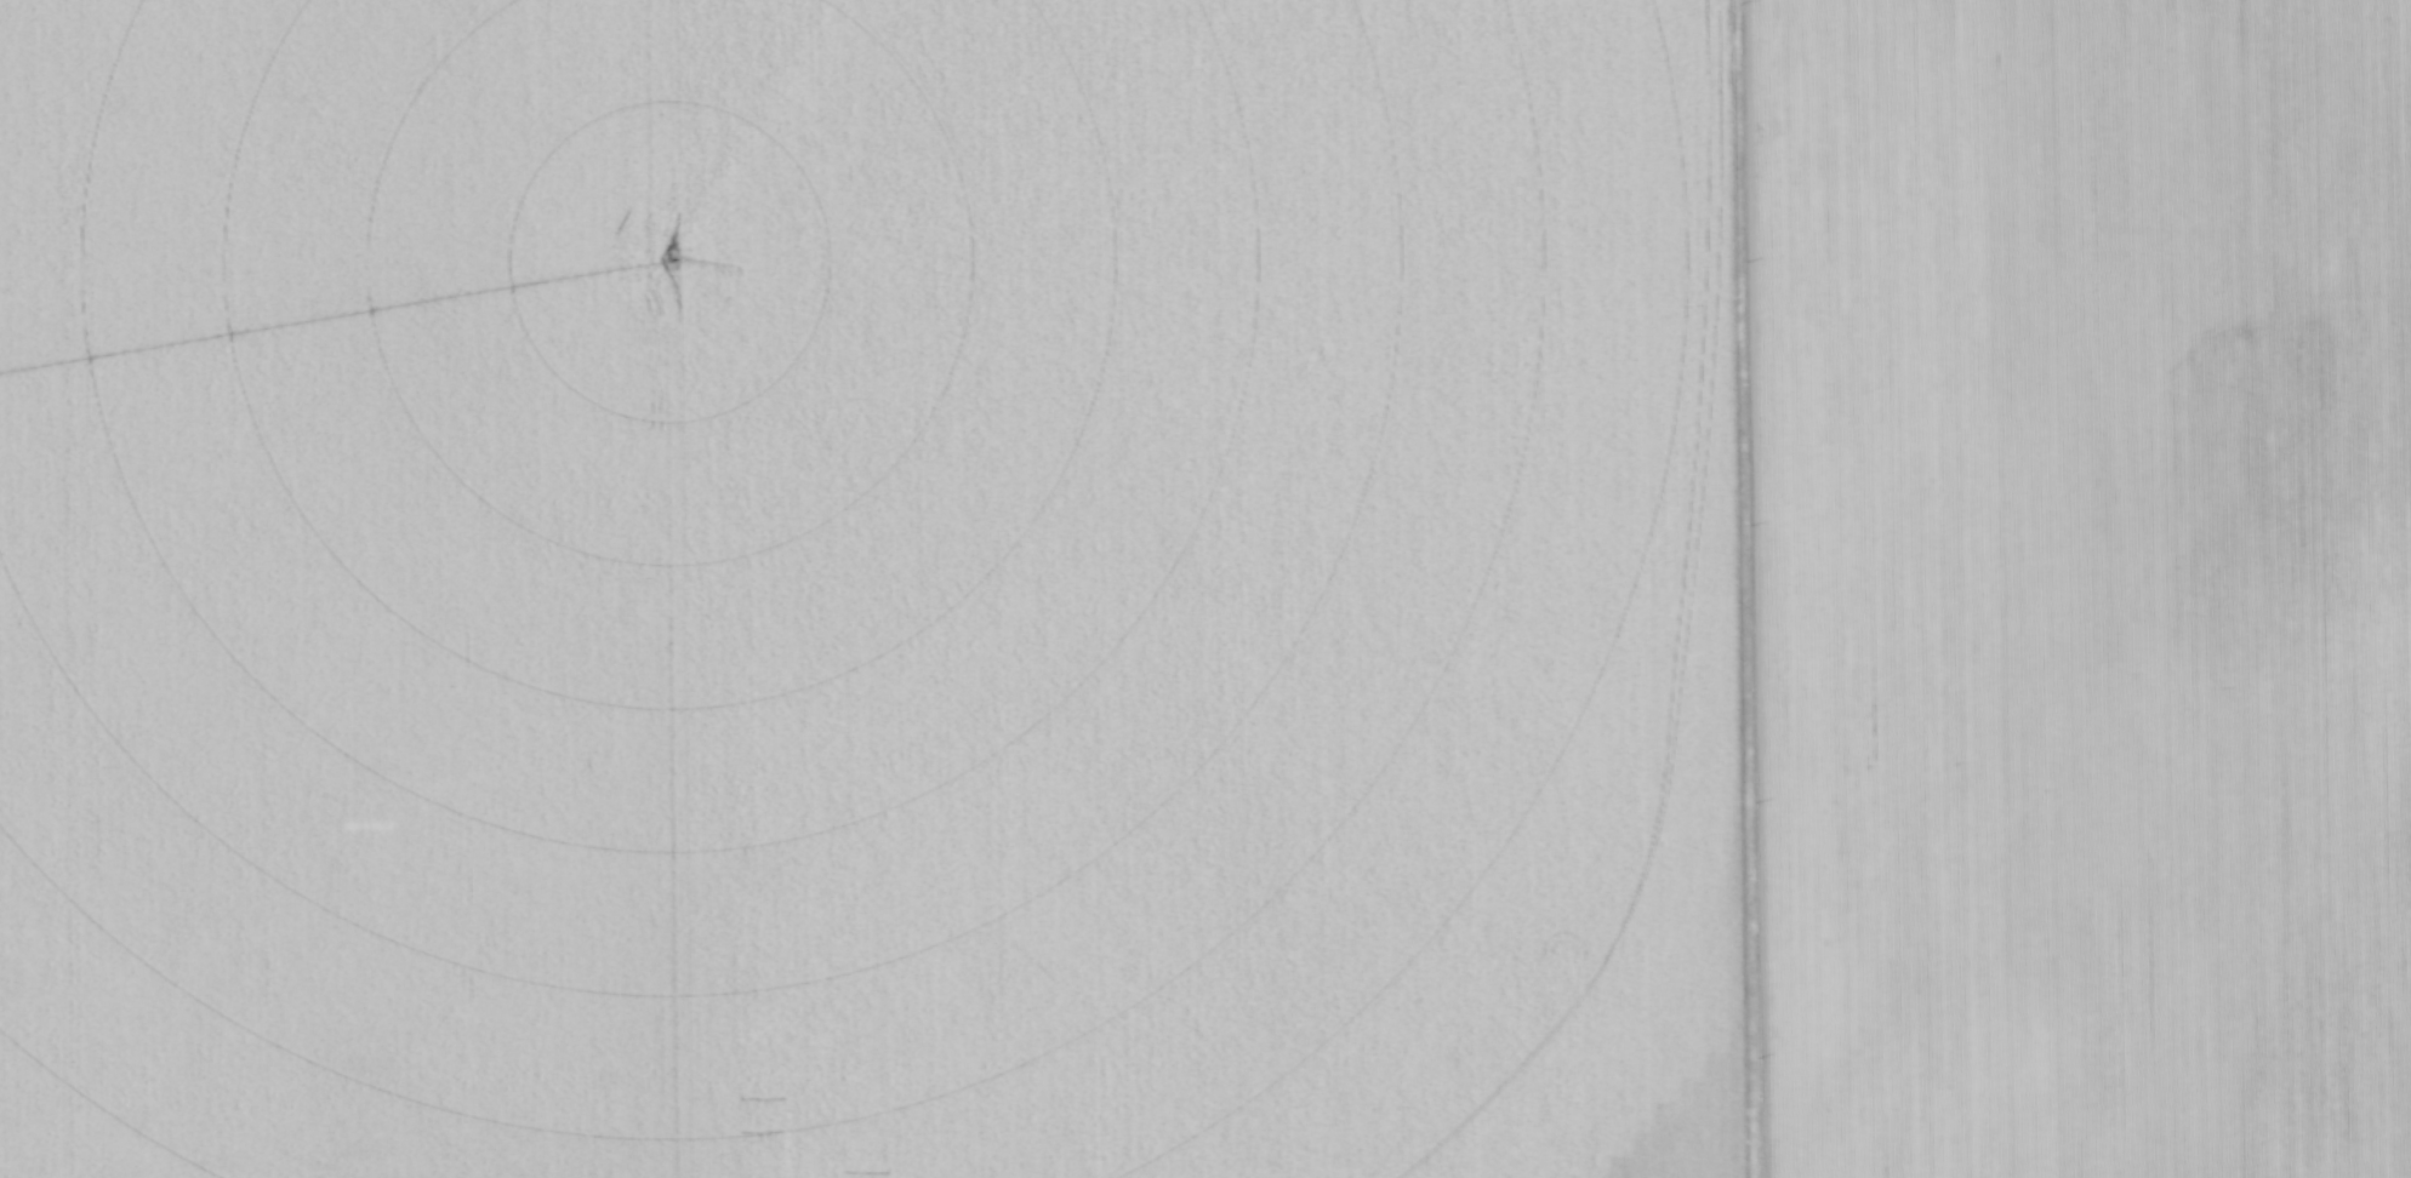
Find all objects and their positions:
crop: (1205, 589)

